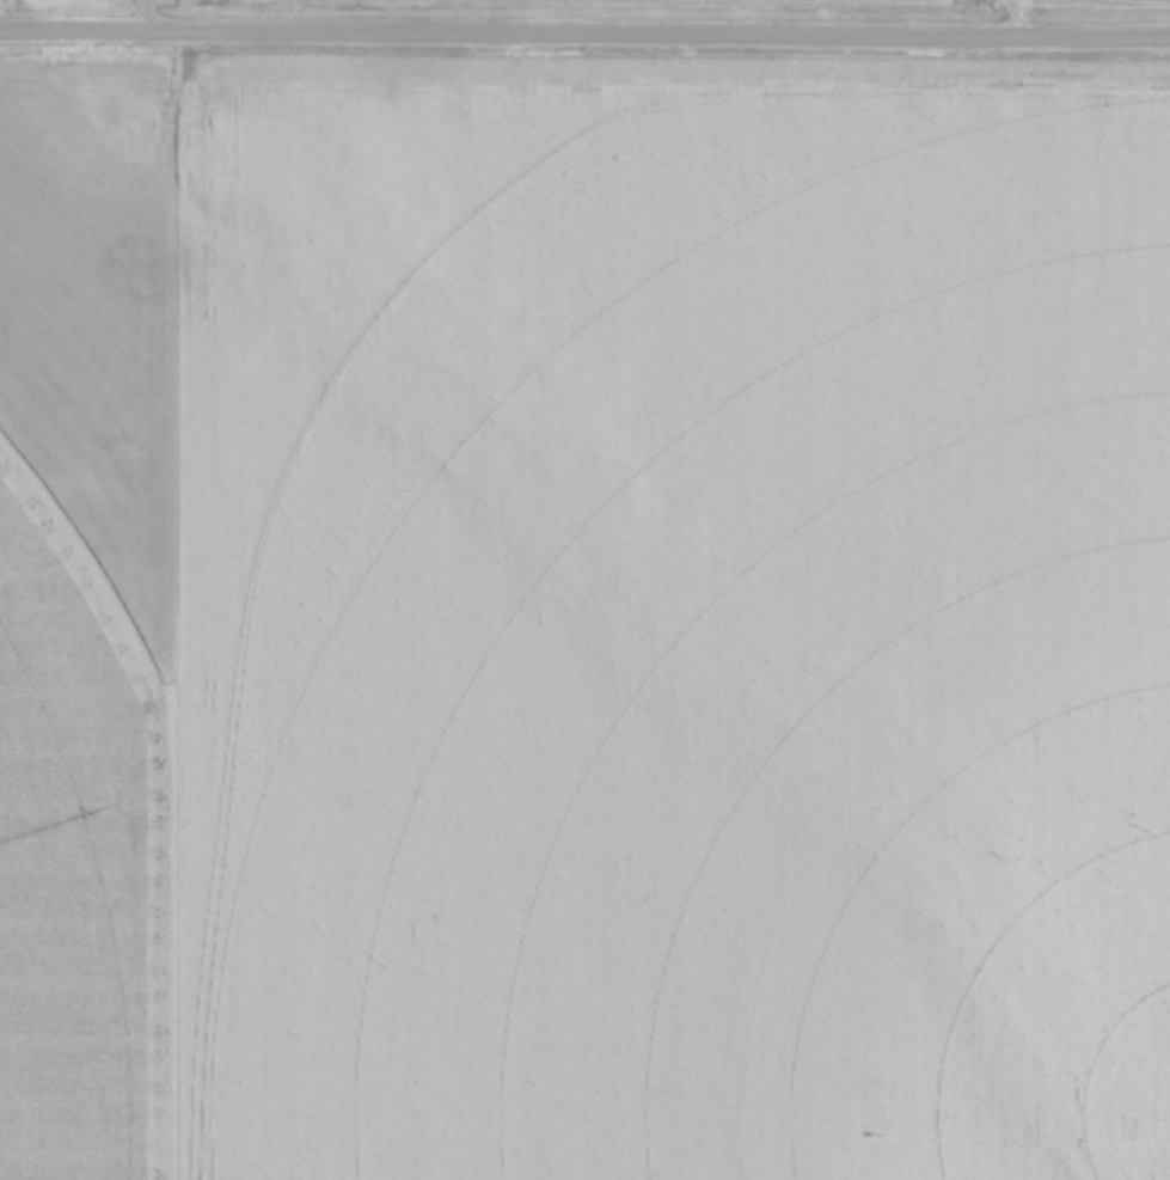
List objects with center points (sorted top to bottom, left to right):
crop: (1107, 1)
crop: (804, 4)
road: (143, 16)
road: (584, 35)
crop: (586, 622)

